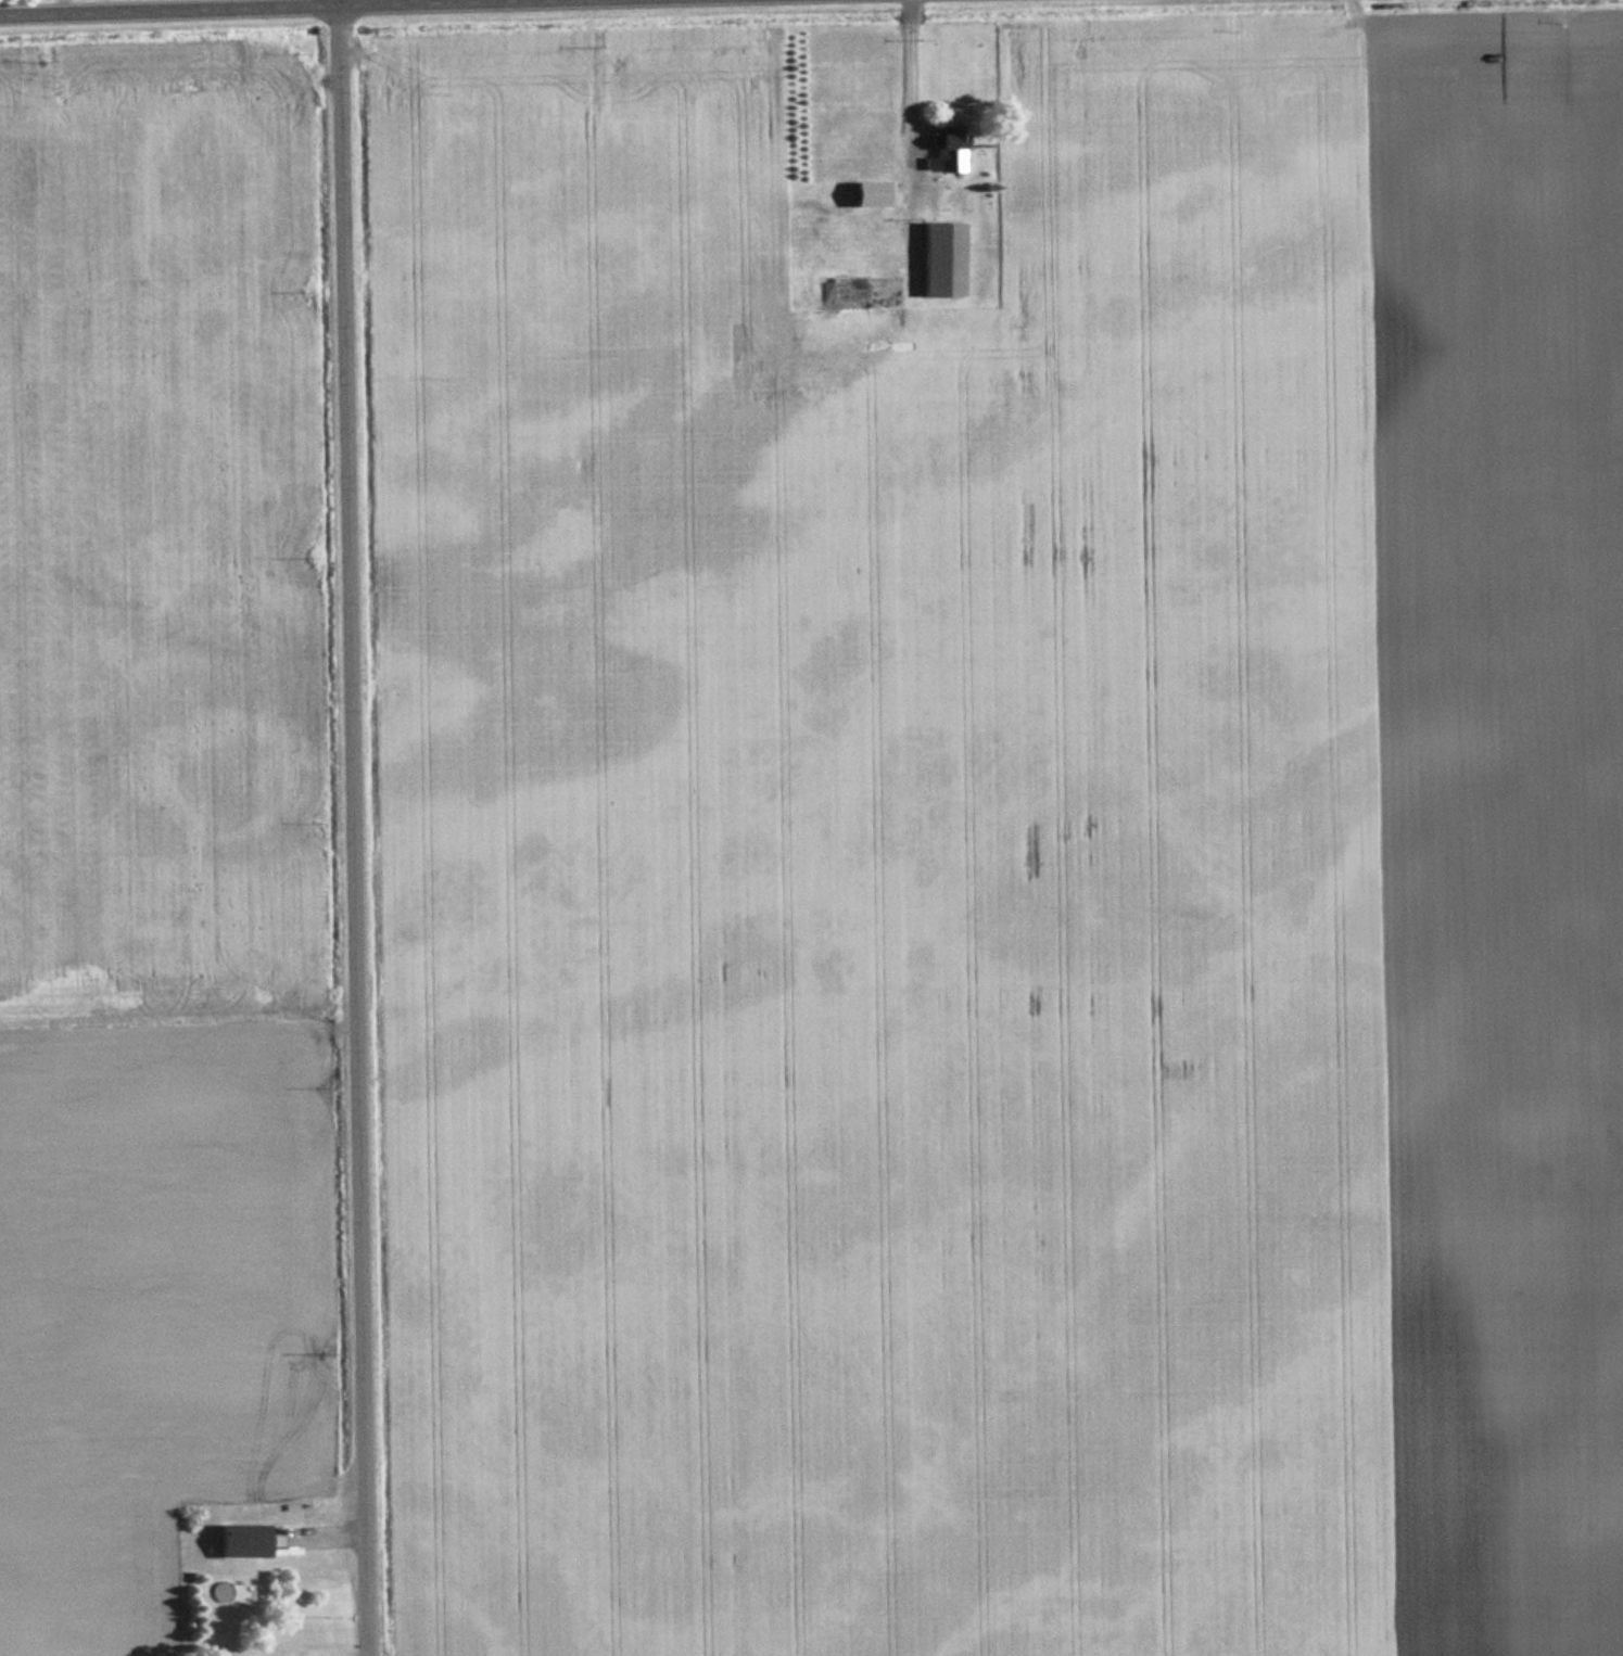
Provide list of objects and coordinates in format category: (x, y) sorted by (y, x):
road: (200, 5)
building: (944, 148)
building: (868, 193)
building: (941, 258)
road: (360, 828)
building: (242, 1539)

